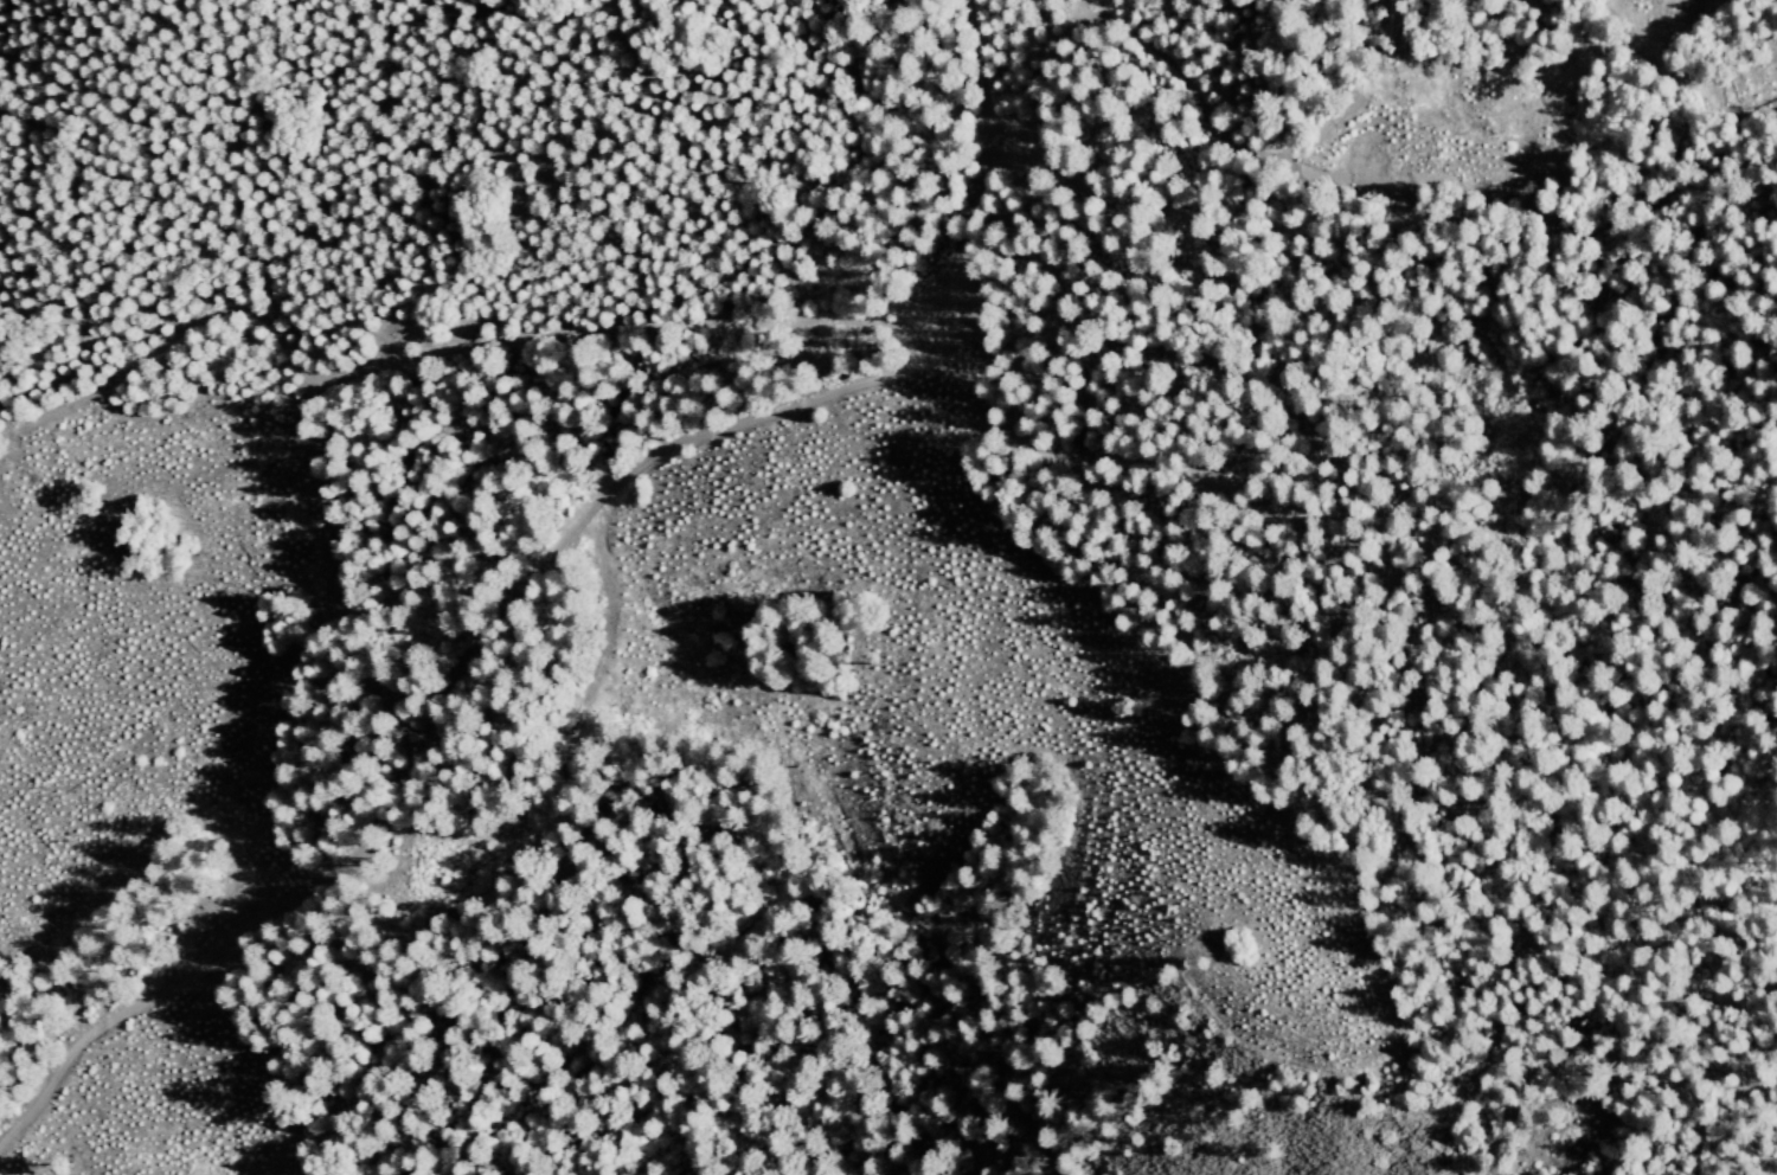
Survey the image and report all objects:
road: (539, 554)

